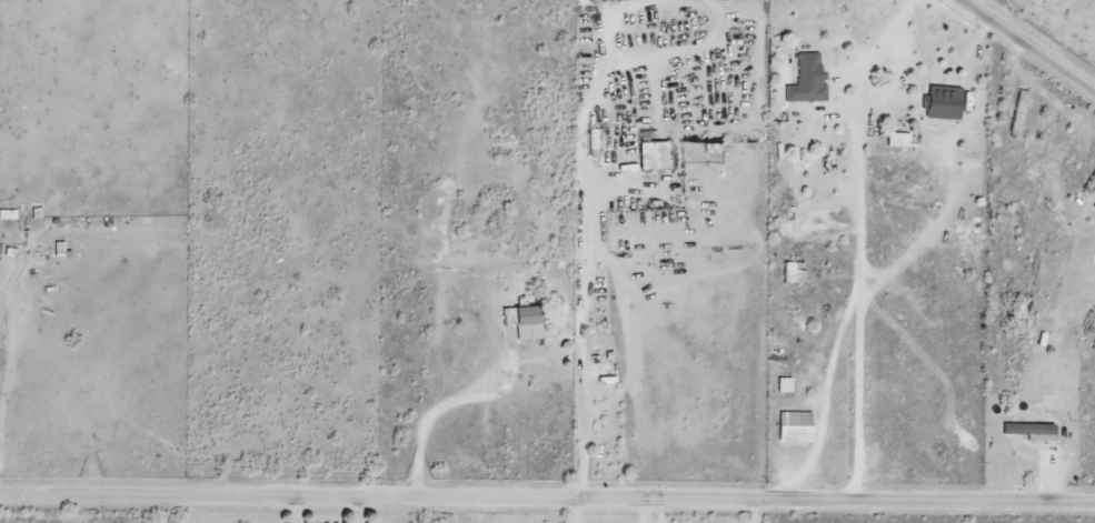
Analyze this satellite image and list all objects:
road: (1035, 43)
building: (808, 80)
building: (943, 103)
building: (898, 140)
building: (654, 155)
building: (1094, 210)
building: (8, 214)
building: (794, 272)
building: (525, 321)
building: (785, 384)
building: (795, 426)
building: (1032, 431)
road: (547, 499)

